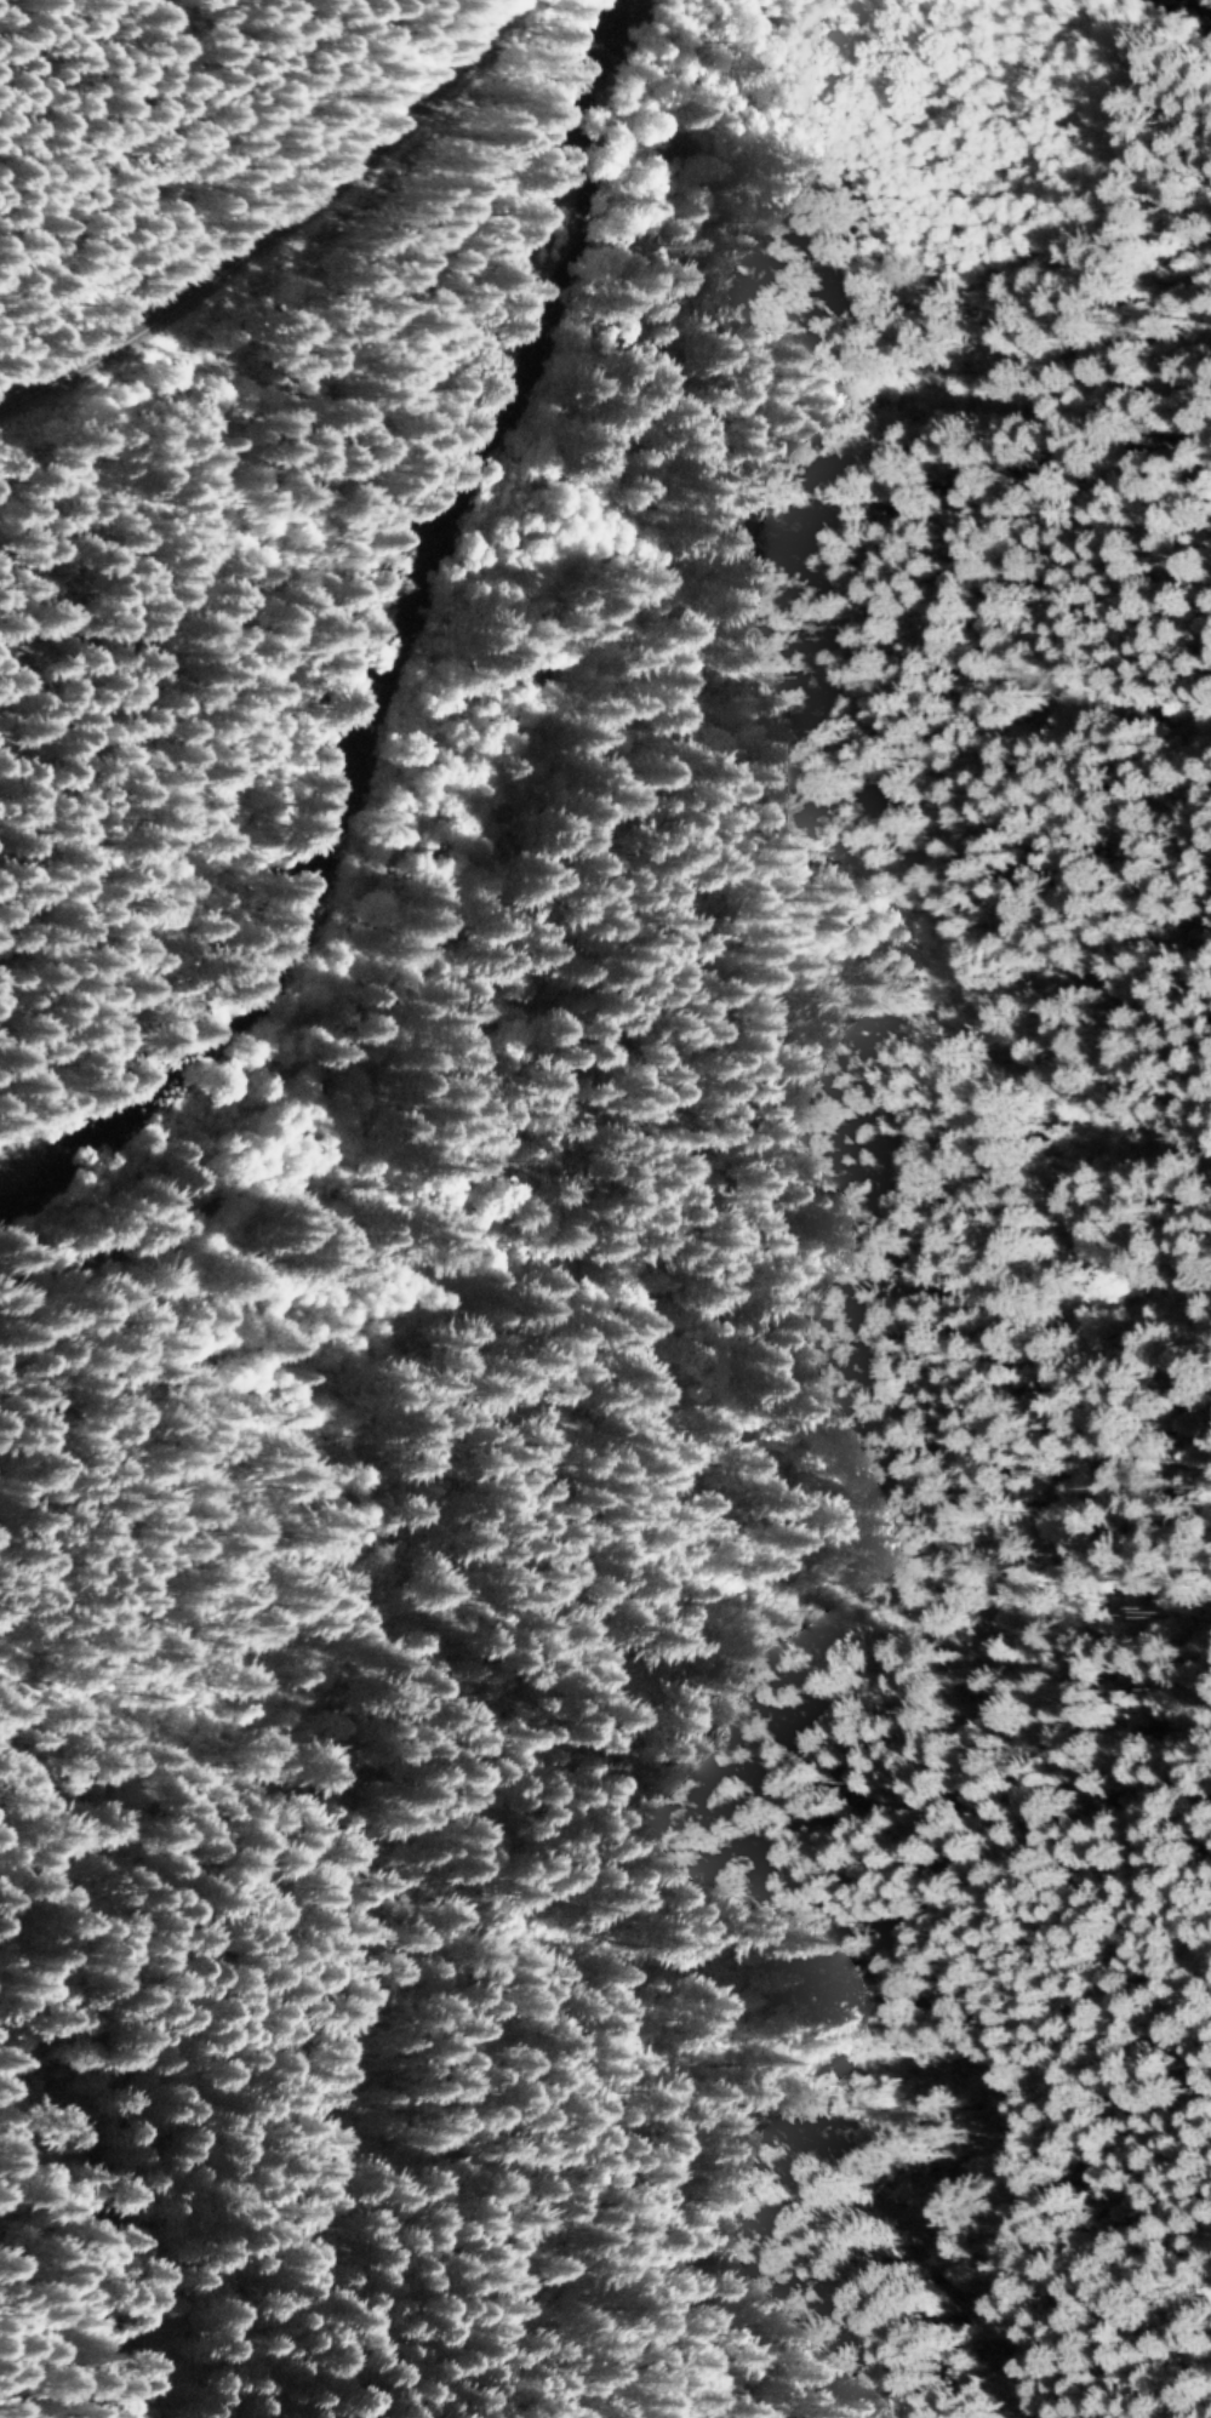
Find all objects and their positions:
road: (290, 244)
road: (978, 418)
road: (70, 651)
river: (402, 657)
road: (984, 684)
road: (440, 1042)

